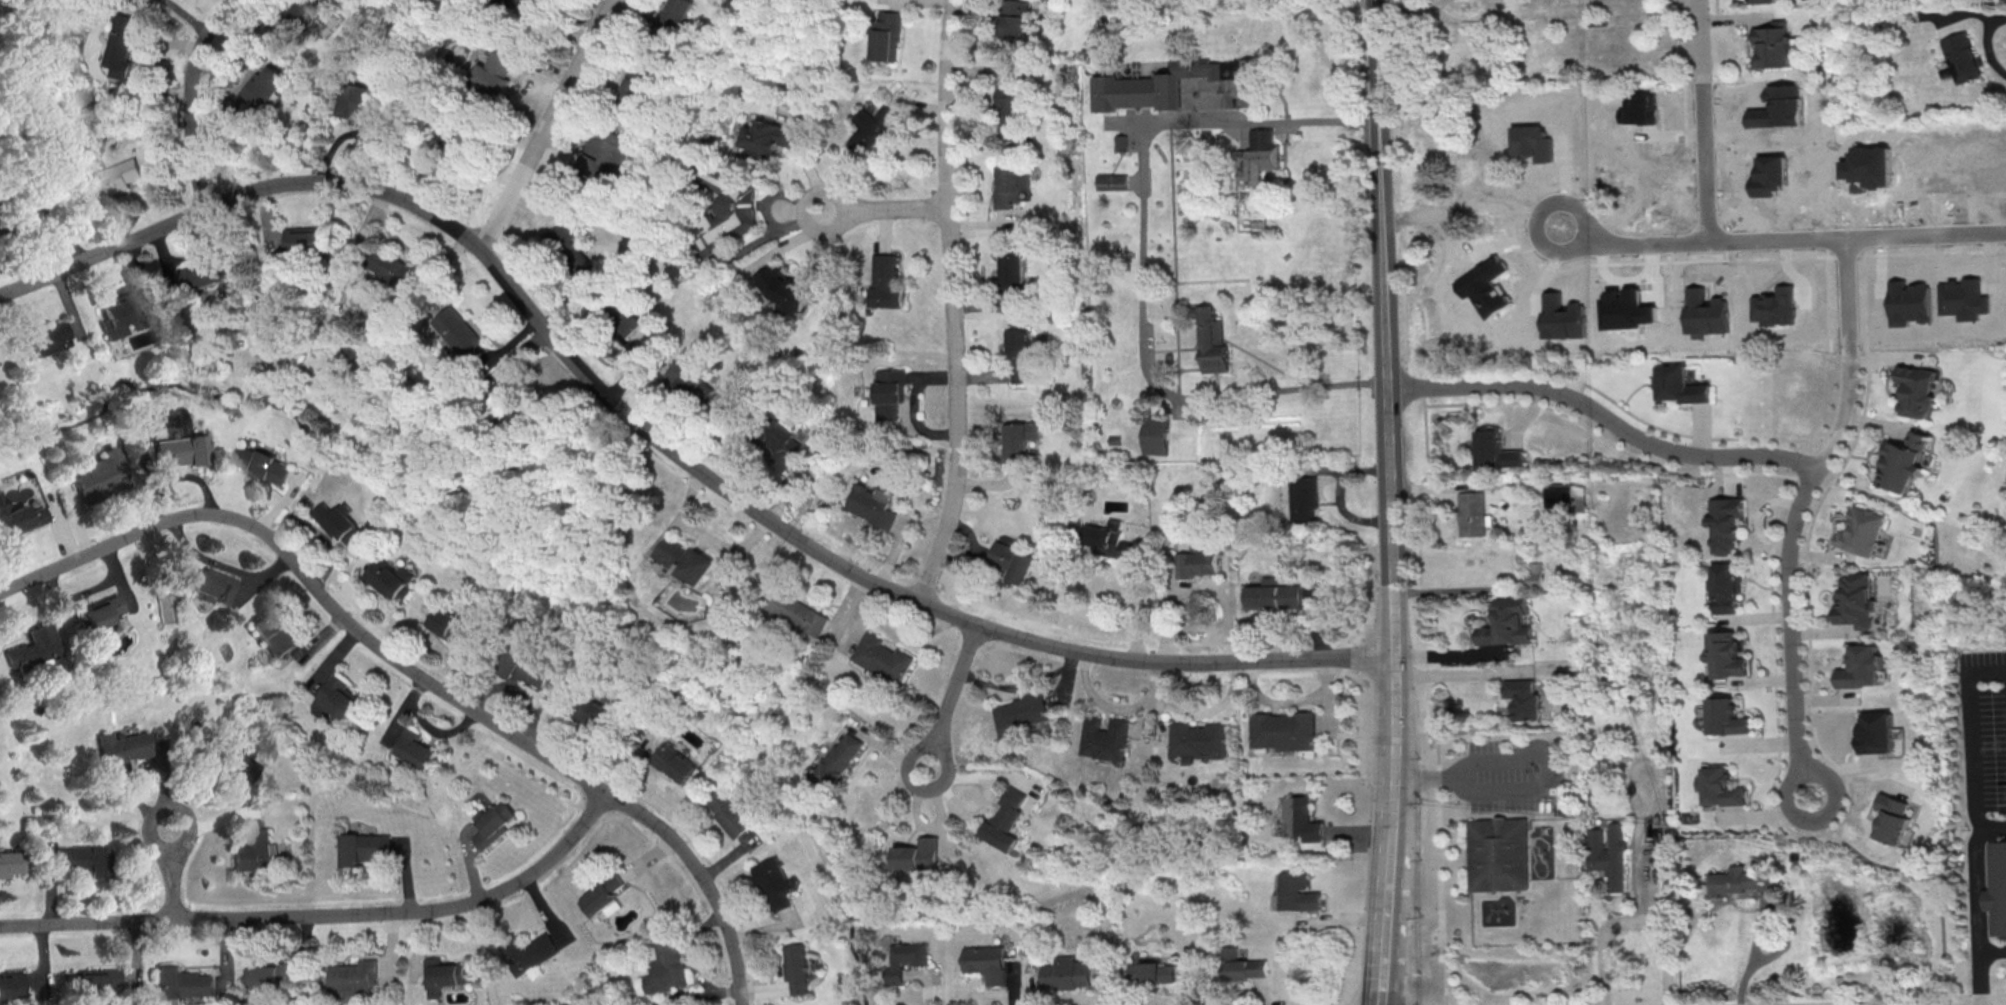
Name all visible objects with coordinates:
building: (1762, 1)
building: (513, 4)
building: (1, 7)
building: (306, 13)
building: (670, 20)
building: (1012, 23)
building: (883, 35)
building: (123, 45)
building: (1774, 45)
road: (1991, 45)
building: (1961, 56)
road: (1378, 61)
building: (502, 67)
building: (1226, 76)
building: (1135, 88)
building: (639, 89)
building: (264, 91)
road: (187, 98)
building: (362, 105)
building: (1011, 109)
building: (1494, 115)
road: (1701, 119)
road: (546, 124)
building: (444, 126)
building: (869, 127)
building: (773, 136)
building: (1119, 141)
building: (1258, 155)
building: (610, 158)
building: (1498, 162)
building: (112, 178)
building: (1111, 180)
building: (1009, 185)
building: (724, 203)
road: (884, 209)
building: (16, 224)
building: (1435, 232)
road: (1781, 240)
building: (305, 243)
building: (569, 243)
road: (1142, 259)
building: (394, 270)
building: (201, 273)
building: (1008, 273)
building: (886, 280)
building: (783, 286)
road: (952, 303)
building: (360, 310)
building: (123, 316)
building: (634, 320)
building: (465, 335)
building: (45, 338)
building: (1210, 338)
building: (1017, 353)
building: (686, 380)
building: (1676, 386)
road: (1392, 387)
building: (888, 390)
building: (1914, 391)
building: (517, 411)
road: (1522, 418)
road: (1605, 418)
building: (1154, 432)
building: (1018, 438)
building: (774, 440)
road: (663, 442)
building: (182, 450)
building: (1492, 451)
building: (1904, 462)
building: (263, 463)
building: (100, 477)
road: (1468, 487)
building: (1302, 498)
road: (1418, 498)
building: (1556, 499)
building: (869, 506)
building: (1468, 514)
road: (1795, 514)
building: (19, 518)
building: (341, 521)
building: (1725, 522)
building: (1863, 531)
building: (1108, 537)
building: (1198, 557)
building: (684, 558)
building: (1011, 560)
building: (1533, 573)
building: (387, 580)
building: (210, 582)
building: (1727, 587)
road: (1455, 588)
building: (1271, 593)
building: (1857, 599)
road: (1141, 601)
building: (94, 612)
building: (797, 612)
building: (447, 622)
building: (1503, 623)
building: (274, 635)
building: (36, 650)
building: (1722, 655)
building: (881, 657)
building: (521, 664)
building: (1858, 668)
road: (414, 673)
road: (1461, 673)
road: (951, 695)
building: (332, 696)
building: (1521, 699)
building: (588, 711)
building: (1022, 712)
building: (1723, 718)
building: (1282, 729)
road: (1972, 731)
building: (1872, 734)
building: (1105, 736)
building: (1196, 737)
road: (1394, 742)
building: (119, 749)
building: (412, 749)
building: (672, 759)
building: (837, 760)
building: (231, 766)
road: (1532, 785)
building: (1716, 788)
building: (727, 810)
building: (1300, 817)
building: (1893, 817)
building: (1004, 819)
building: (489, 822)
building: (257, 847)
building: (366, 847)
building: (918, 853)
building: (1609, 853)
building: (1498, 854)
building: (1662, 854)
building: (87, 858)
building: (13, 861)
road: (1977, 874)
road: (174, 875)
road: (1390, 880)
building: (773, 881)
building: (1740, 881)
building: (1998, 888)
road: (1927, 889)
building: (1295, 891)
building: (602, 892)
road: (323, 914)
road: (1651, 924)
building: (524, 951)
road: (1602, 951)
road: (1753, 952)
road: (1992, 954)
building: (906, 958)
building: (988, 961)
building: (1241, 964)
building: (797, 965)
building: (665, 966)
road: (1384, 967)
building: (1067, 971)
building: (1151, 971)
building: (268, 975)
building: (444, 975)
building: (353, 978)
road: (1979, 980)
building: (94, 981)
building: (183, 981)
building: (14, 984)
road: (1865, 1000)

